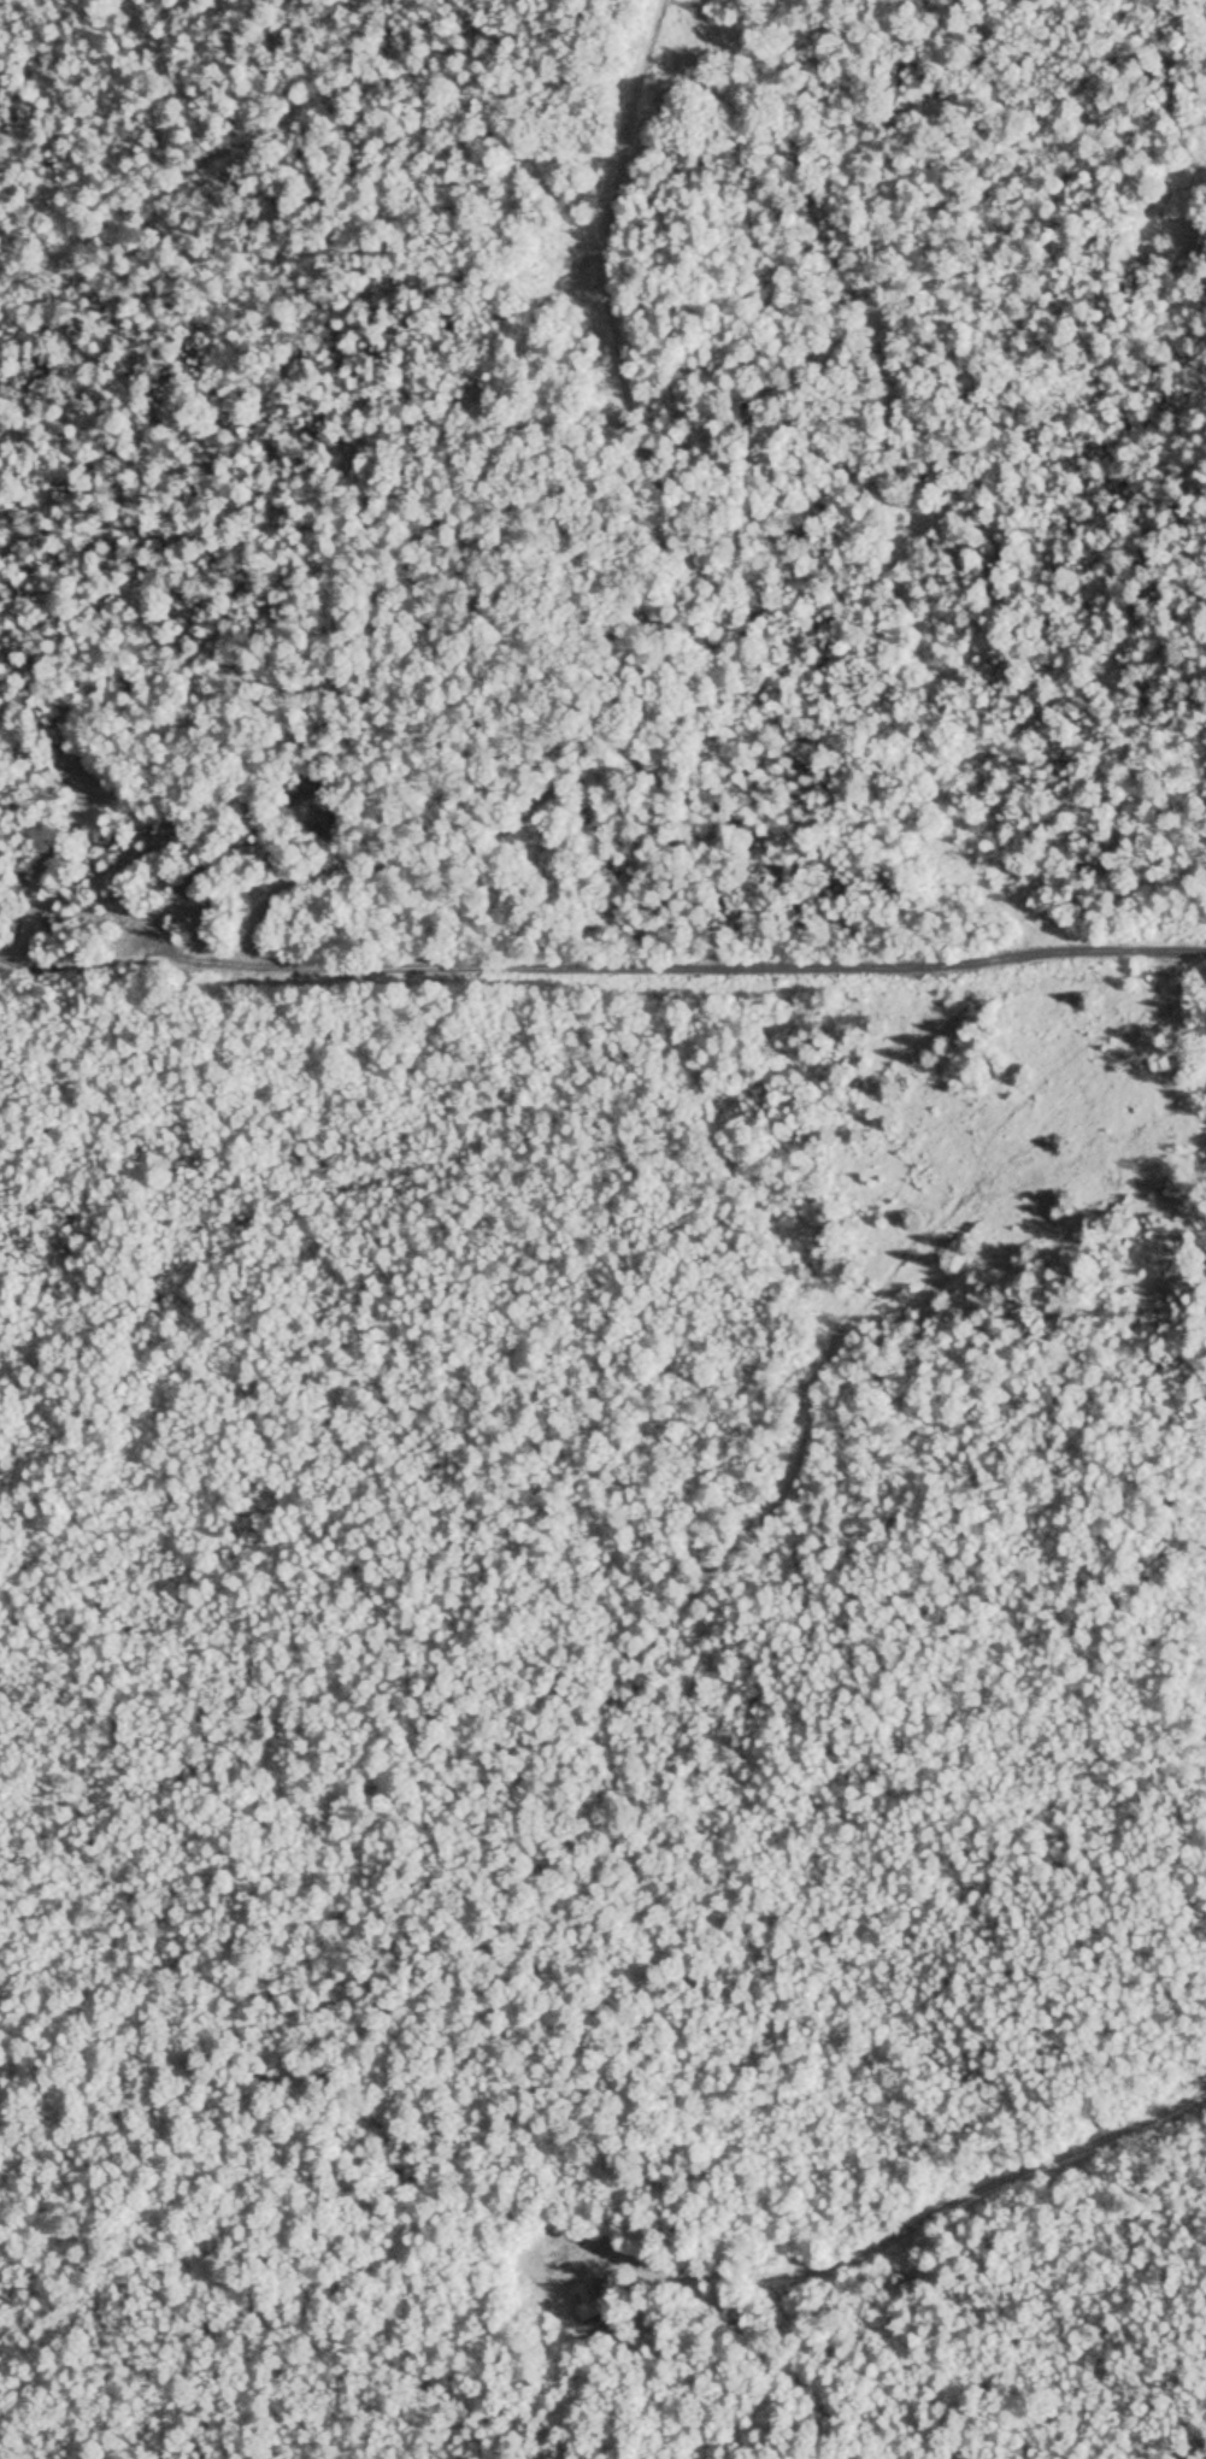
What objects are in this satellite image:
road: (176, 818)
building: (589, 2295)

